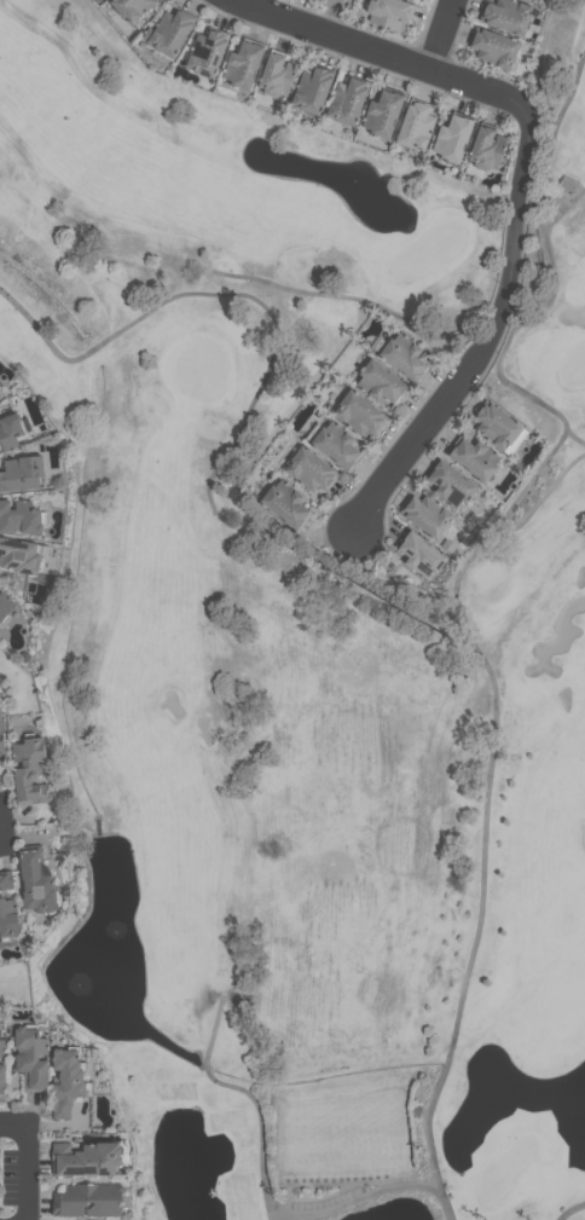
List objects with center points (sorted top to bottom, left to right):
building: (346, 0)
building: (534, 0)
building: (338, 1)
building: (132, 8)
building: (389, 12)
building: (506, 16)
building: (169, 30)
road: (442, 36)
building: (494, 48)
building: (207, 52)
building: (243, 64)
building: (277, 75)
building: (312, 88)
building: (348, 100)
building: (381, 114)
building: (416, 125)
building: (452, 138)
building: (485, 146)
road: (522, 193)
building: (404, 358)
building: (380, 381)
building: (359, 412)
building: (498, 428)
building: (10, 432)
building: (336, 447)
building: (474, 457)
building: (309, 469)
building: (22, 473)
building: (450, 484)
building: (285, 503)
building: (428, 514)
building: (18, 516)
building: (19, 555)
building: (422, 555)
building: (5, 606)
park: (312, 634)
building: (1, 750)
building: (30, 769)
road: (2, 820)
road: (1, 837)
building: (35, 883)
building: (7, 908)
building: (30, 1059)
building: (2, 1069)
building: (65, 1081)
road: (17, 1122)
building: (85, 1160)
road: (33, 1172)
road: (270, 1196)
building: (87, 1201)
road: (570, 1209)

